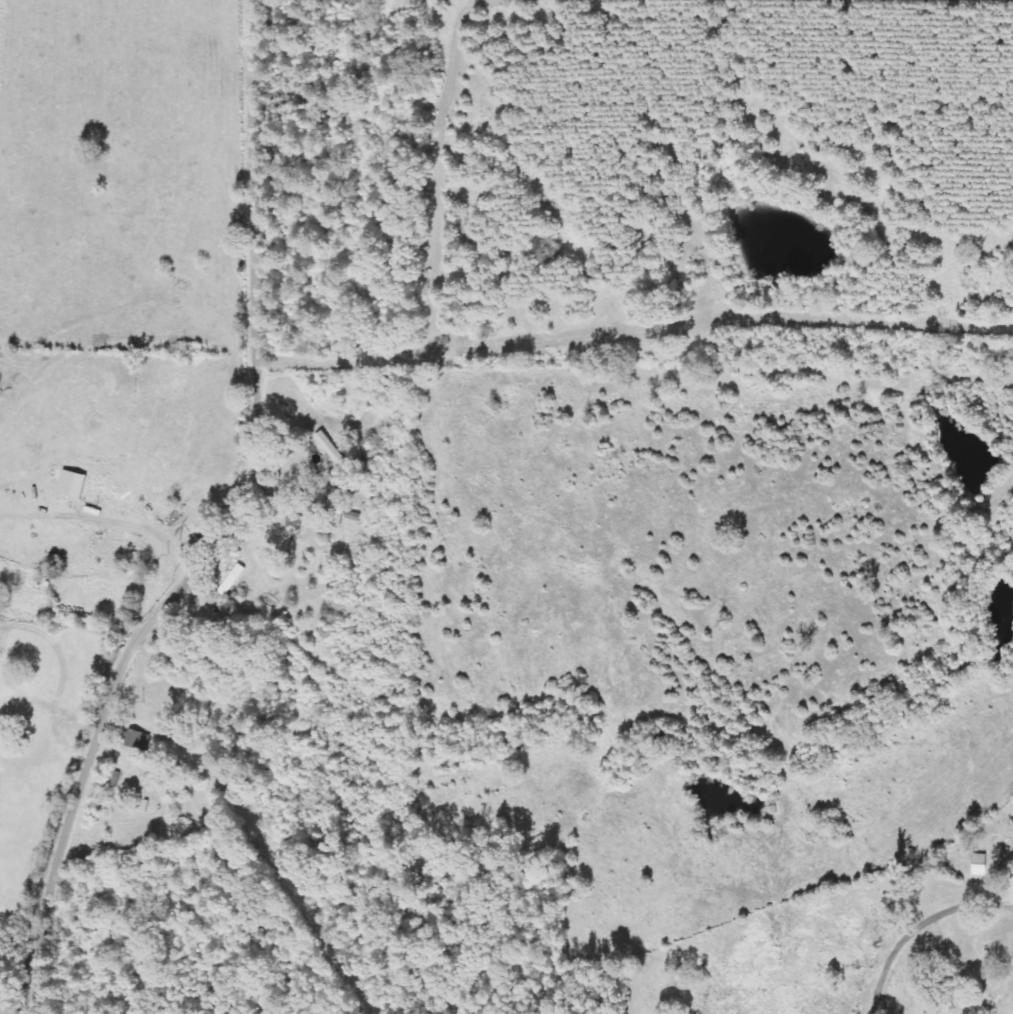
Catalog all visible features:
road: (512, 354)
building: (331, 449)
road: (234, 532)
building: (137, 740)

